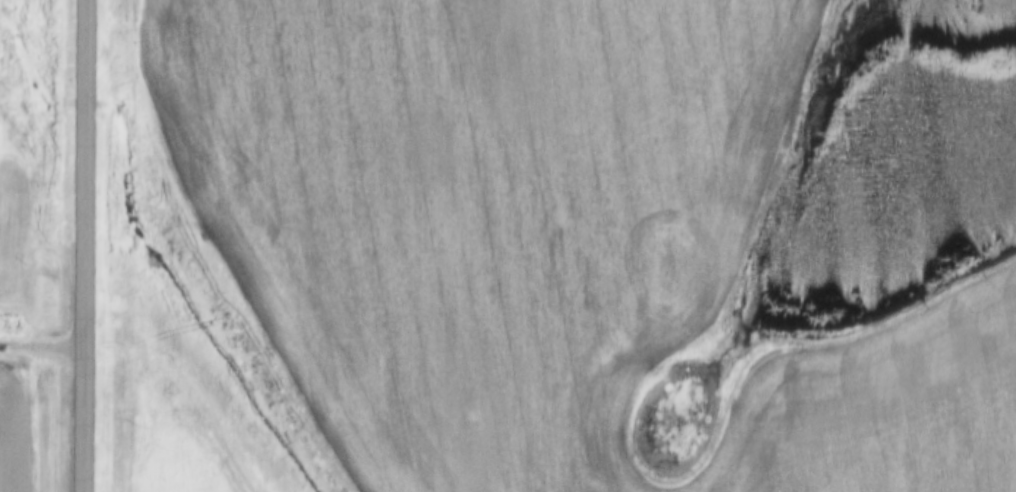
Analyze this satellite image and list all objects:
road: (82, 246)
road: (40, 345)

